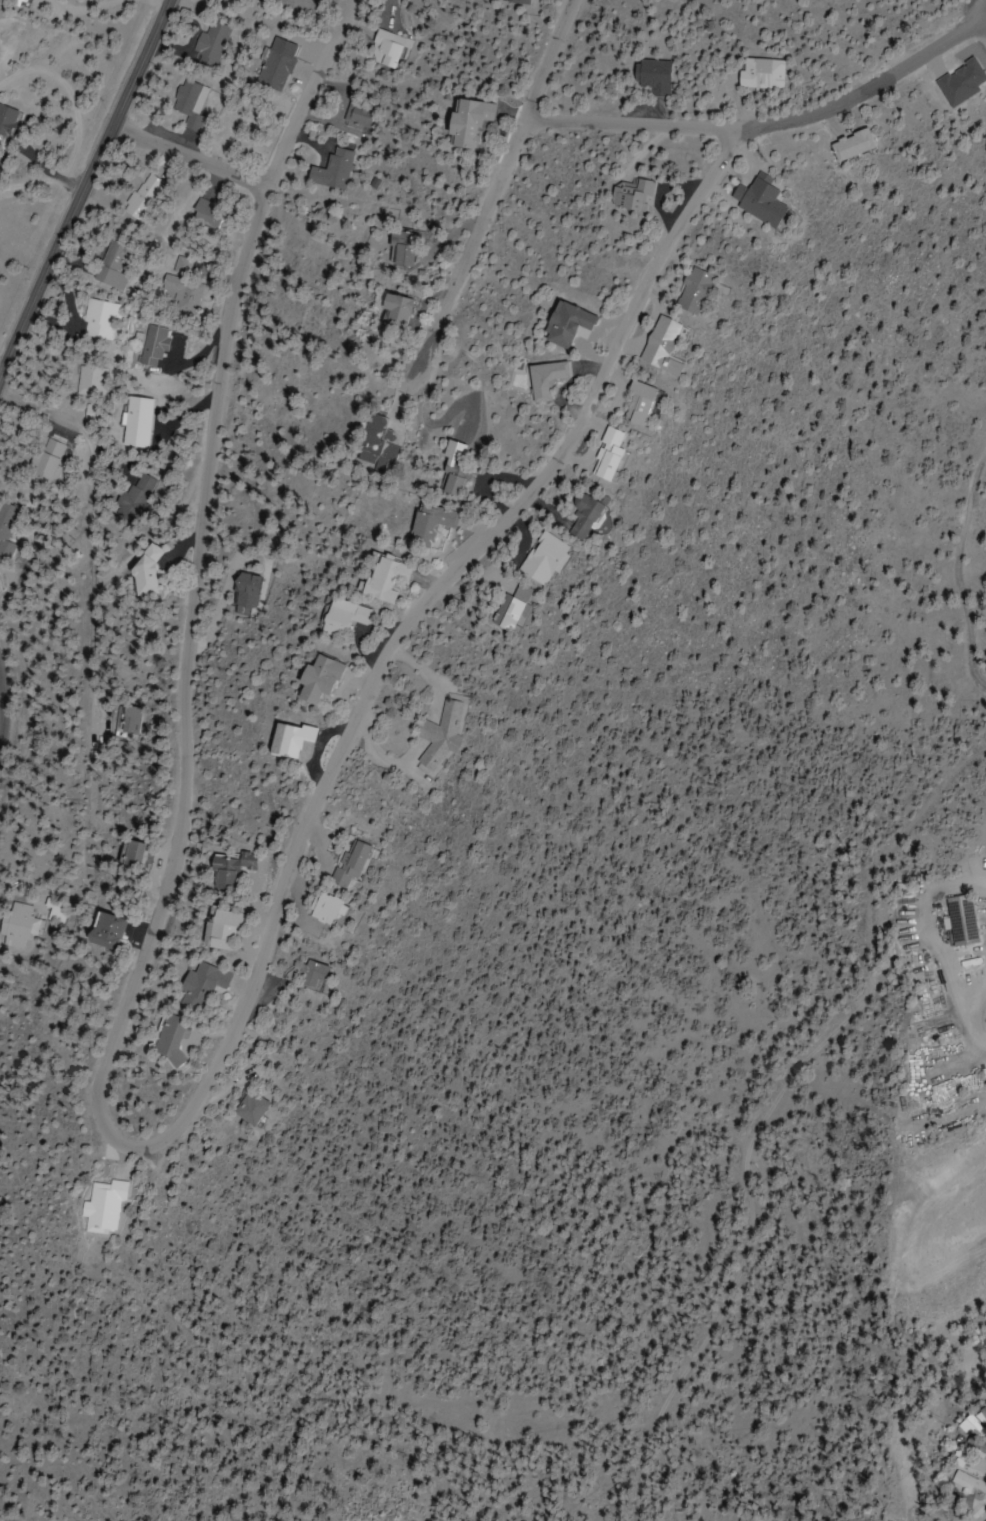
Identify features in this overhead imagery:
building: (15, 1)
building: (517, 1)
building: (208, 41)
building: (387, 49)
building: (272, 71)
building: (759, 73)
building: (651, 75)
building: (185, 103)
building: (359, 118)
building: (4, 121)
building: (463, 122)
road: (767, 122)
building: (848, 144)
road: (189, 156)
building: (333, 170)
road: (82, 185)
building: (631, 196)
building: (140, 197)
road: (491, 198)
building: (756, 200)
building: (204, 214)
building: (401, 248)
building: (181, 264)
building: (112, 266)
building: (693, 291)
building: (181, 294)
building: (393, 309)
building: (97, 320)
building: (566, 324)
road: (57, 325)
building: (660, 345)
building: (152, 346)
building: (545, 379)
building: (88, 380)
building: (637, 402)
building: (89, 412)
building: (133, 421)
building: (377, 444)
building: (607, 455)
building: (39, 462)
building: (452, 480)
building: (133, 495)
building: (582, 517)
building: (425, 527)
building: (3, 530)
road: (93, 542)
building: (541, 559)
building: (141, 572)
building: (380, 578)
building: (245, 591)
building: (508, 607)
building: (337, 616)
building: (312, 679)
building: (128, 720)
road: (1, 725)
building: (434, 739)
building: (284, 740)
building: (130, 856)
building: (342, 864)
building: (225, 871)
building: (315, 917)
building: (955, 921)
building: (13, 924)
building: (217, 930)
building: (100, 932)
building: (304, 976)
building: (195, 986)
building: (164, 1040)
building: (946, 1087)
building: (241, 1110)
road: (109, 1169)
building: (102, 1206)
building: (973, 1424)
building: (955, 1481)

